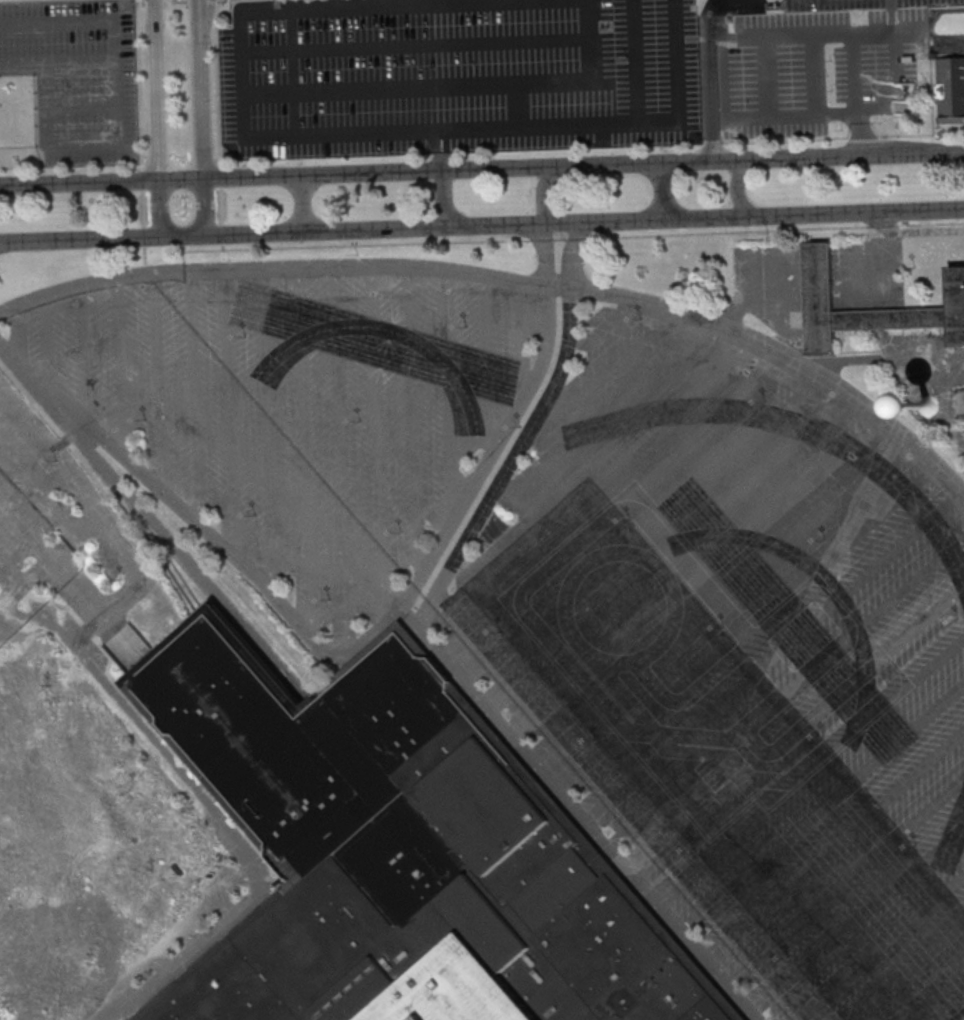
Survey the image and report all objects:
road: (517, 0)
road: (397, 4)
road: (891, 16)
road: (814, 34)
road: (749, 41)
road: (634, 60)
road: (115, 62)
road: (855, 74)
road: (772, 75)
road: (711, 79)
building: (949, 83)
road: (457, 86)
road: (205, 89)
road: (155, 91)
road: (892, 106)
road: (806, 115)
road: (459, 127)
road: (863, 136)
road: (585, 167)
road: (183, 181)
road: (79, 185)
road: (736, 189)
road: (544, 192)
road: (663, 192)
road: (444, 200)
road: (303, 205)
road: (208, 208)
road: (160, 210)
road: (586, 223)
road: (933, 230)
road: (185, 237)
road: (80, 241)
road: (548, 254)
road: (509, 279)
building: (819, 286)
road: (17, 332)
road: (46, 346)
road: (82, 358)
road: (611, 367)
road: (119, 368)
road: (486, 368)
road: (158, 382)
road: (451, 390)
road: (194, 395)
water tower: (927, 400)
building: (929, 405)
road: (230, 413)
road: (606, 417)
road: (415, 420)
road: (269, 428)
road: (529, 431)
road: (381, 441)
road: (493, 448)
road: (305, 453)
road: (342, 459)
road: (585, 484)
road: (614, 506)
road: (203, 525)
road: (643, 530)
road: (669, 552)
road: (184, 559)
road: (695, 576)
road: (724, 604)
road: (748, 628)
road: (775, 656)
road: (787, 691)
road: (799, 730)
road: (812, 770)
road: (823, 805)
road: (582, 812)
road: (234, 835)
road: (835, 844)
building: (402, 853)
road: (847, 881)
road: (859, 919)
road: (877, 946)
road: (909, 972)
road: (936, 995)
road: (963, 1019)

